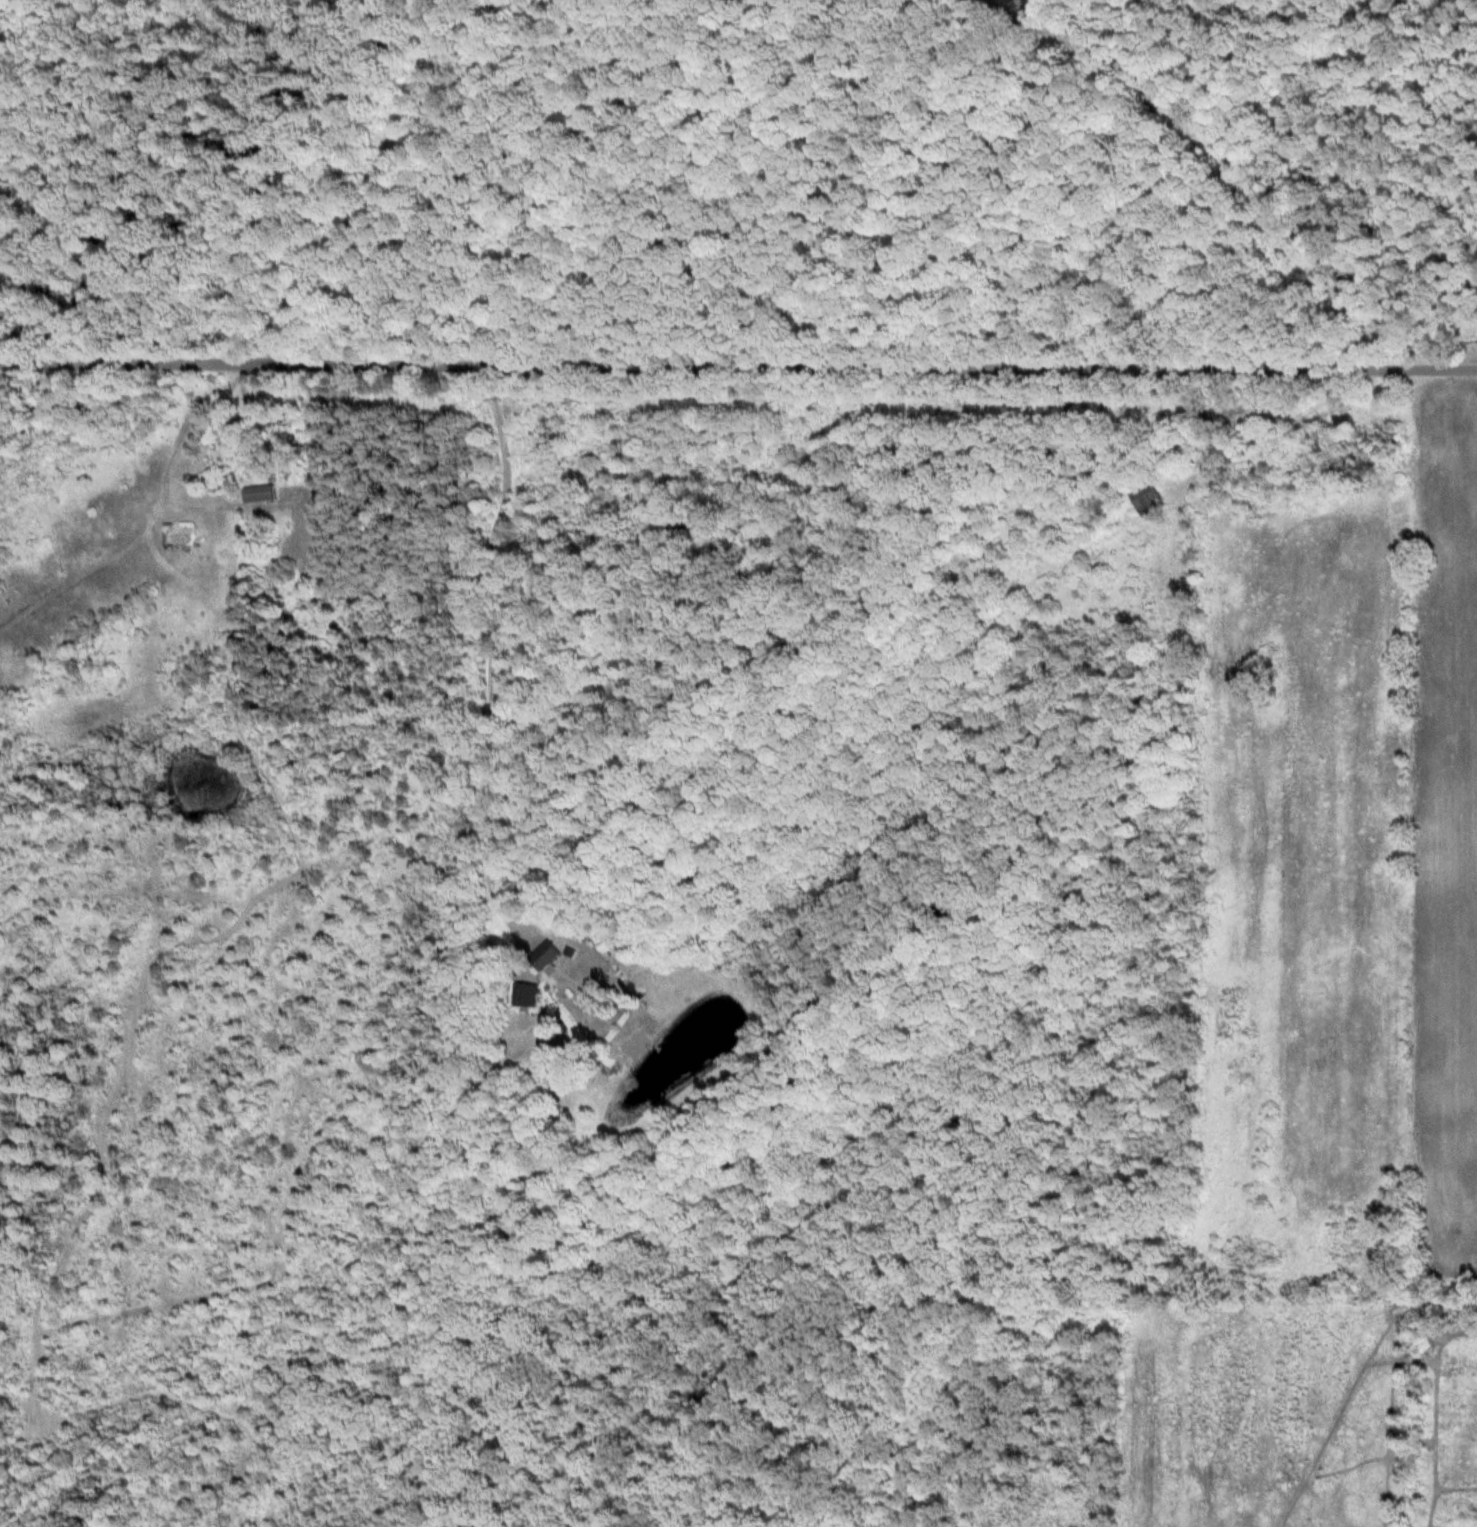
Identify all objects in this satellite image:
road: (738, 367)
road: (168, 461)
building: (260, 493)
road: (490, 653)
building: (527, 995)

